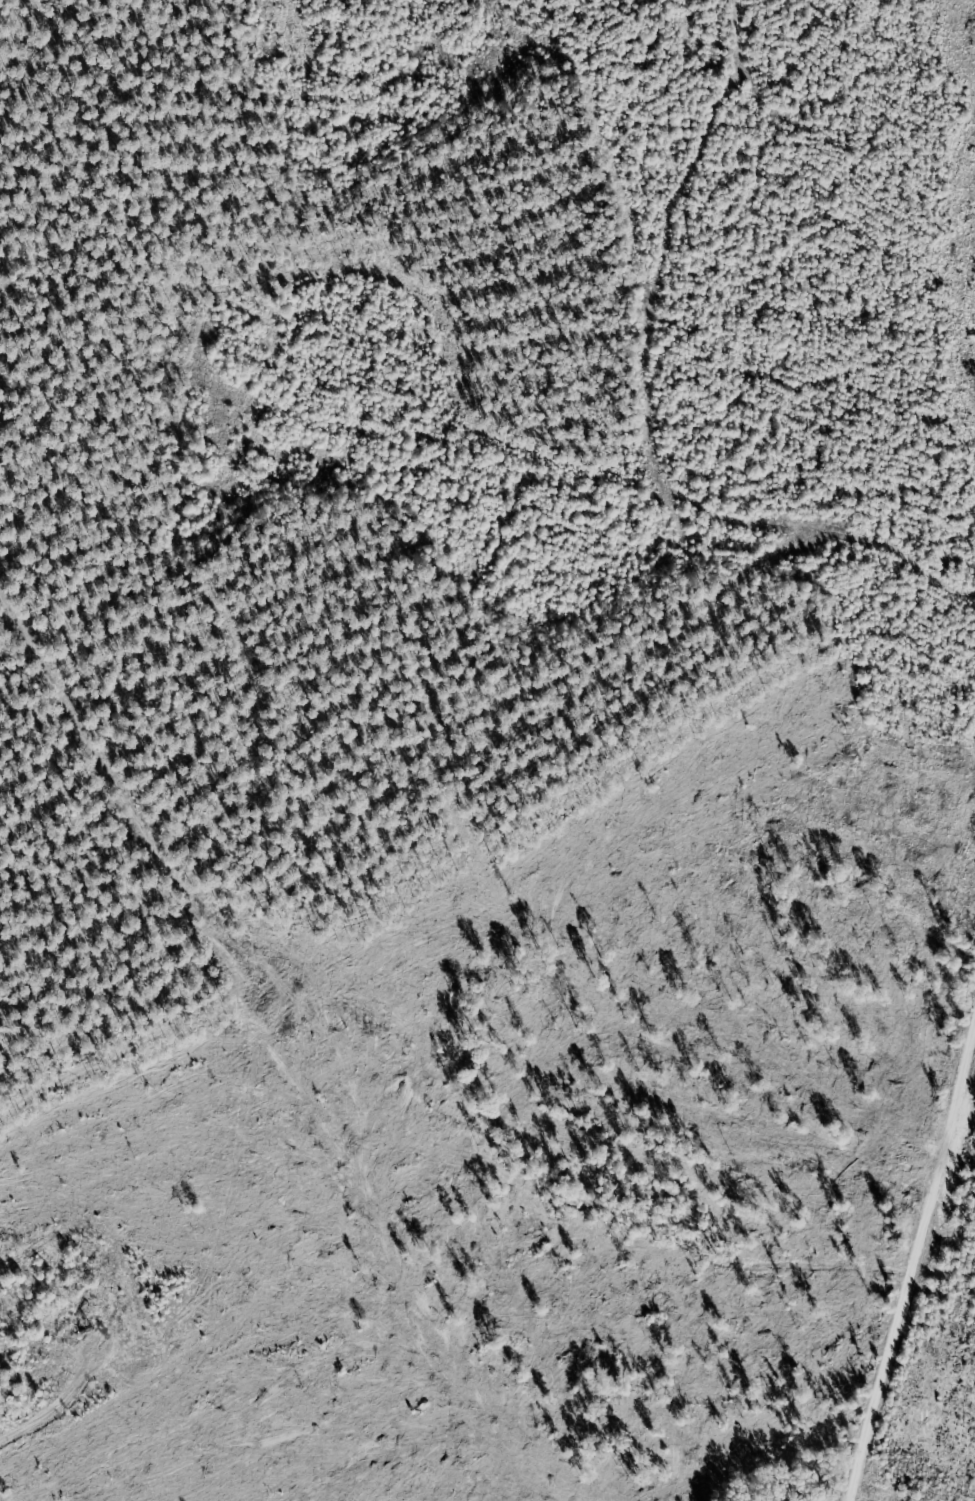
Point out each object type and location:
road: (911, 1261)

